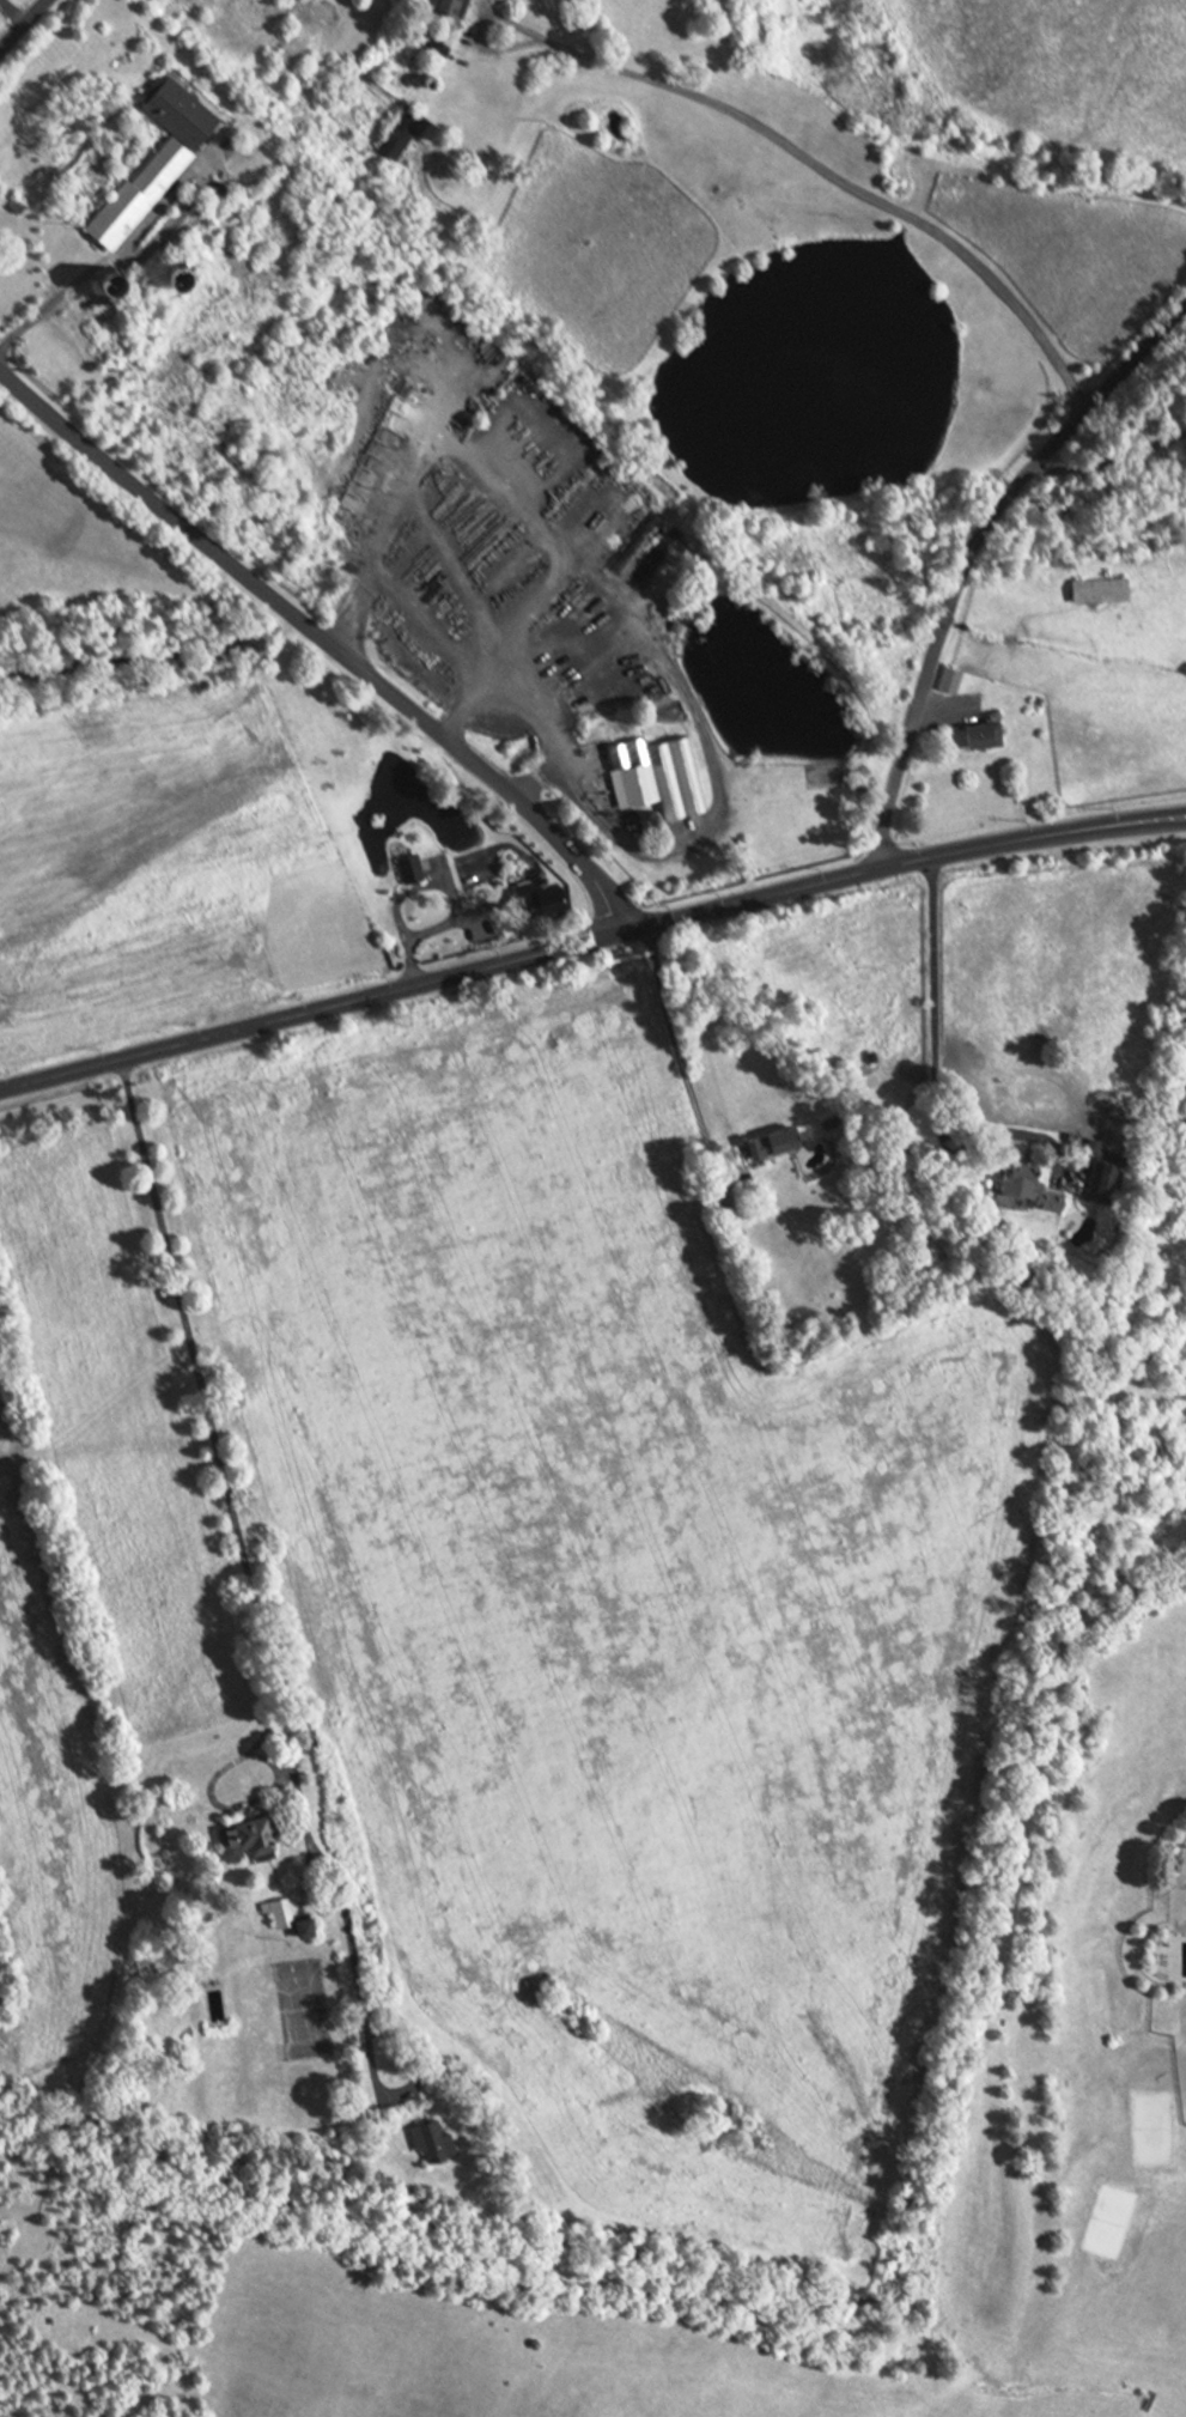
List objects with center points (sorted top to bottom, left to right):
building: (456, 6)
road: (13, 14)
road: (26, 28)
crop: (1054, 71)
building: (180, 110)
building: (409, 132)
road: (819, 172)
building: (140, 194)
building: (0, 206)
building: (181, 273)
silo: (181, 273)
building: (114, 278)
silo: (114, 278)
road: (49, 305)
road: (1109, 457)
road: (969, 554)
building: (1095, 590)
road: (326, 646)
building: (947, 680)
building: (986, 734)
road: (543, 735)
building: (656, 773)
road: (535, 778)
building: (657, 815)
road: (1034, 839)
building: (399, 867)
building: (410, 868)
crop: (160, 869)
road: (416, 888)
building: (539, 894)
road: (424, 933)
road: (443, 980)
road: (674, 1045)
road: (933, 1049)
building: (773, 1141)
building: (1094, 1148)
road: (1062, 1152)
road: (719, 1161)
building: (1106, 1179)
building: (1032, 1183)
crop: (123, 1438)
park: (1123, 1544)
crop: (620, 1590)
road: (261, 1635)
road: (285, 1766)
road: (214, 1800)
crop: (49, 1814)
building: (248, 1838)
building: (294, 1914)
building: (306, 1926)
building: (324, 1929)
park: (302, 2008)
park: (1185, 2064)
park: (1151, 2125)
building: (433, 2137)
road: (39, 2415)

